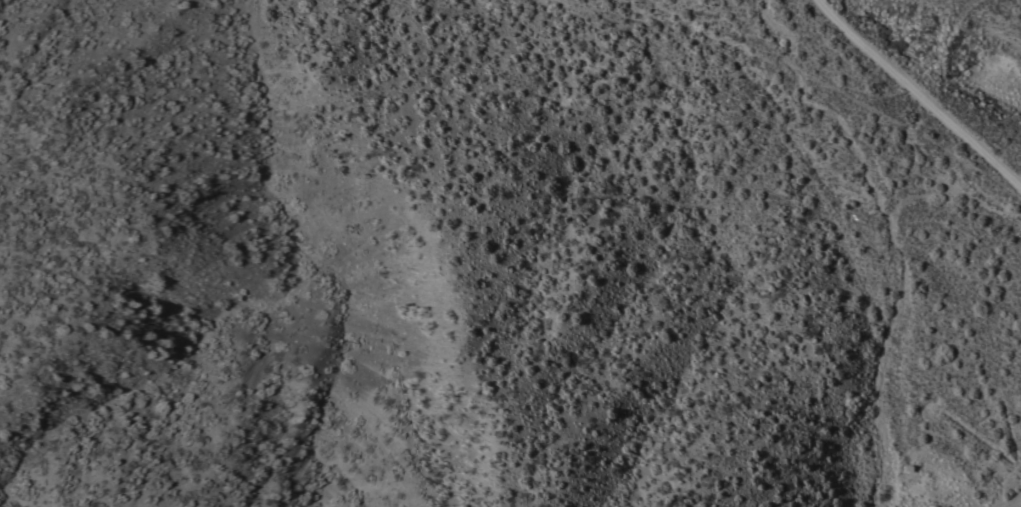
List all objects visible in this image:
road: (560, 391)
building: (935, 506)
building: (945, 506)

